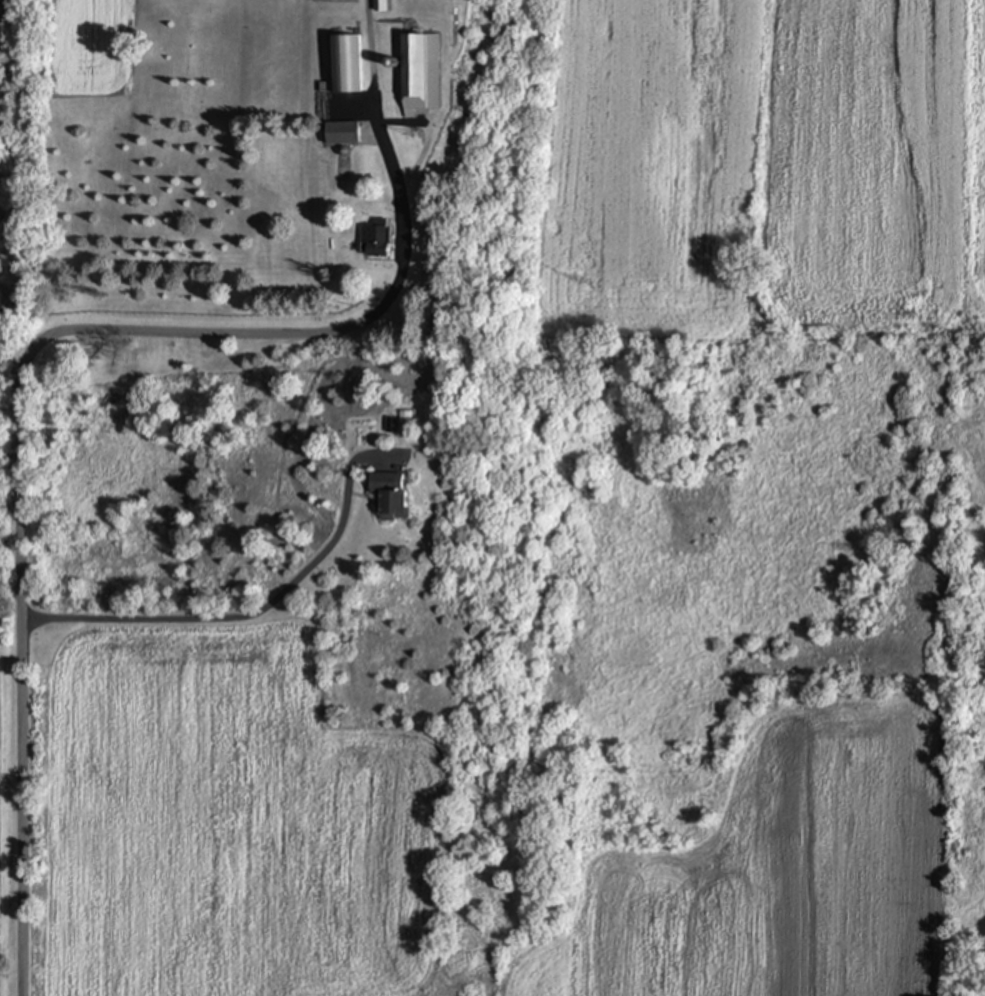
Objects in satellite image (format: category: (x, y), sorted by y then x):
building: (380, 5)
building: (344, 66)
building: (420, 74)
building: (344, 134)
building: (373, 243)
road: (307, 331)
building: (389, 496)
road: (253, 616)
road: (23, 678)

